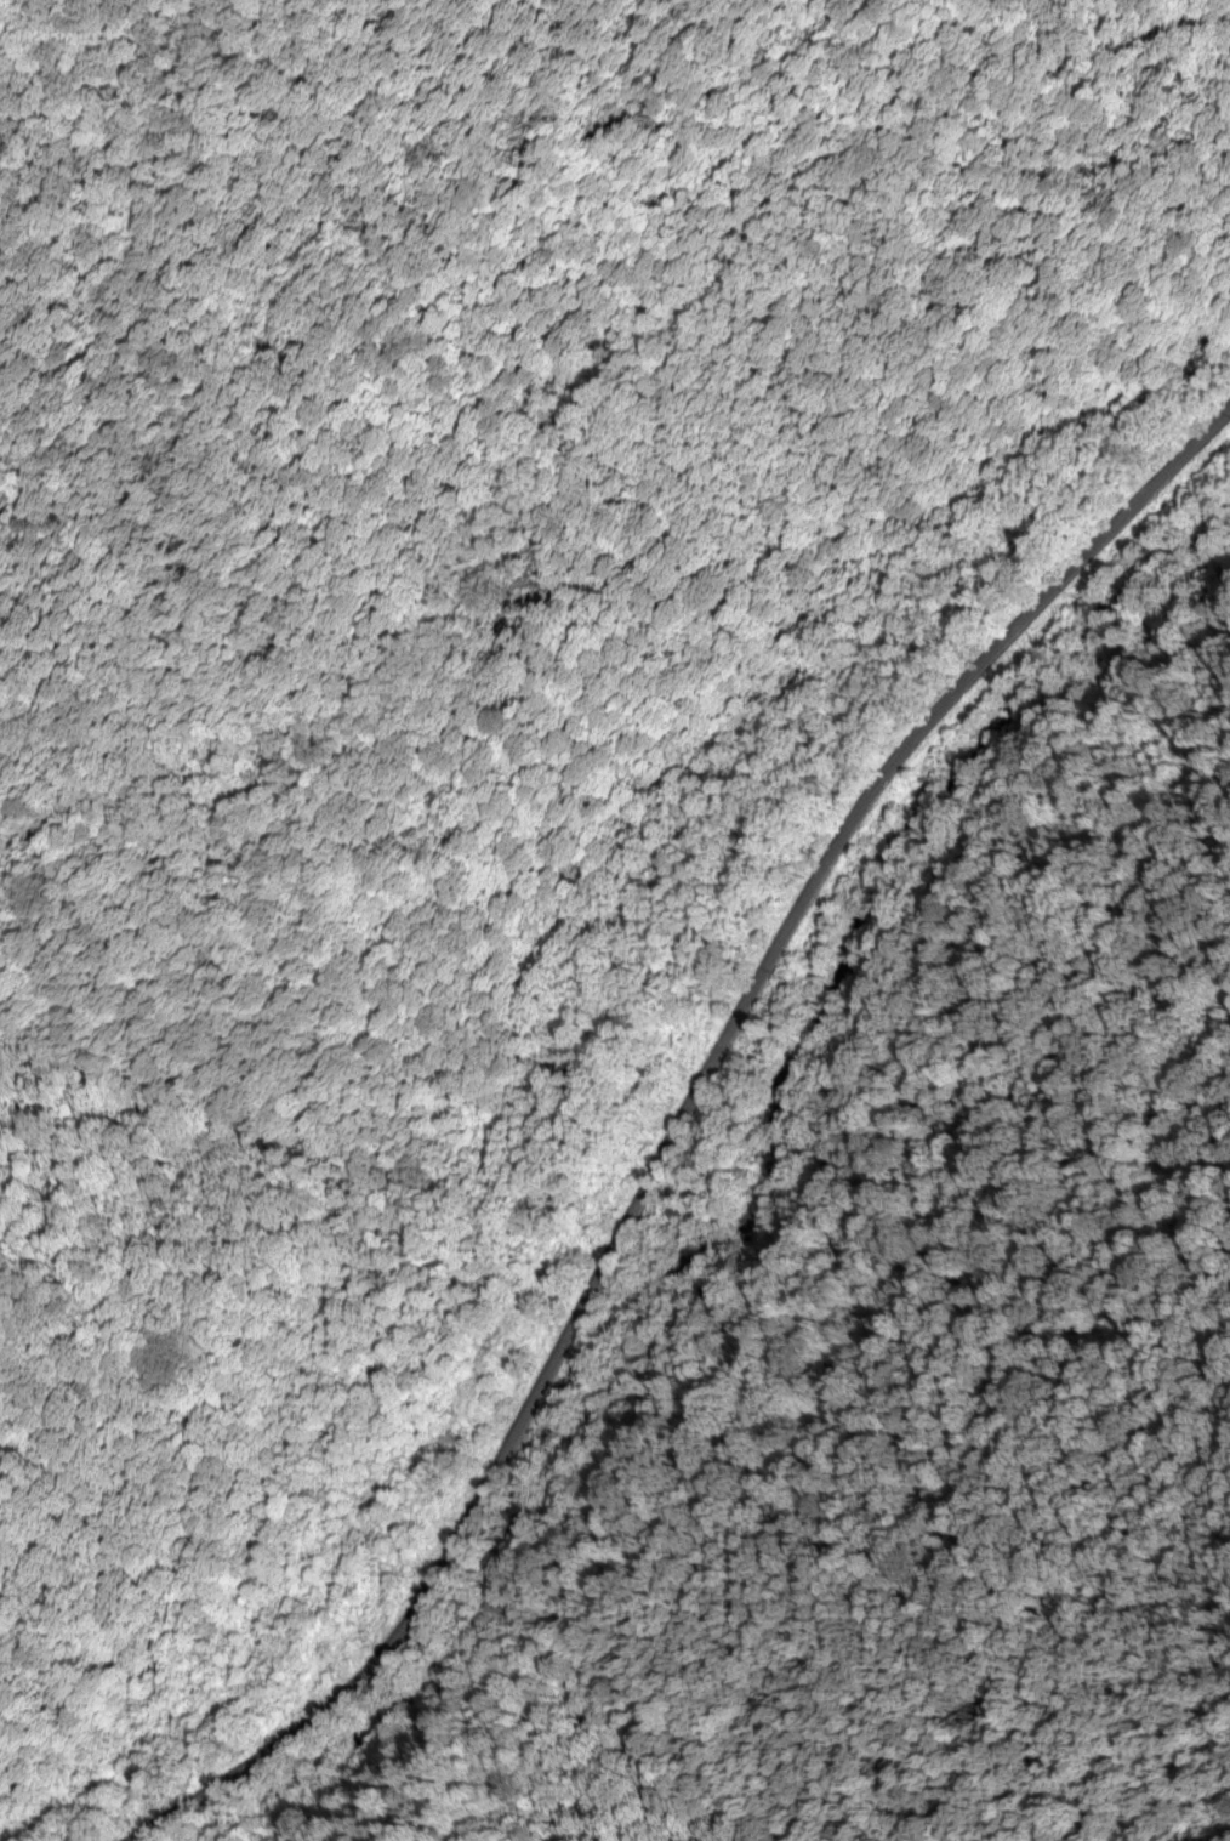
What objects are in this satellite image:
road: (747, 994)
road: (247, 1752)

